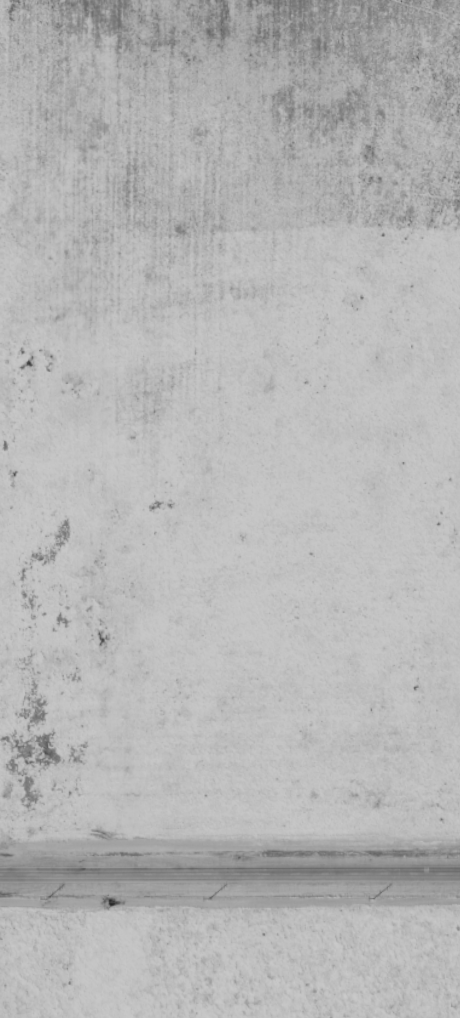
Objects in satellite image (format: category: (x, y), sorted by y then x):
road: (230, 874)

